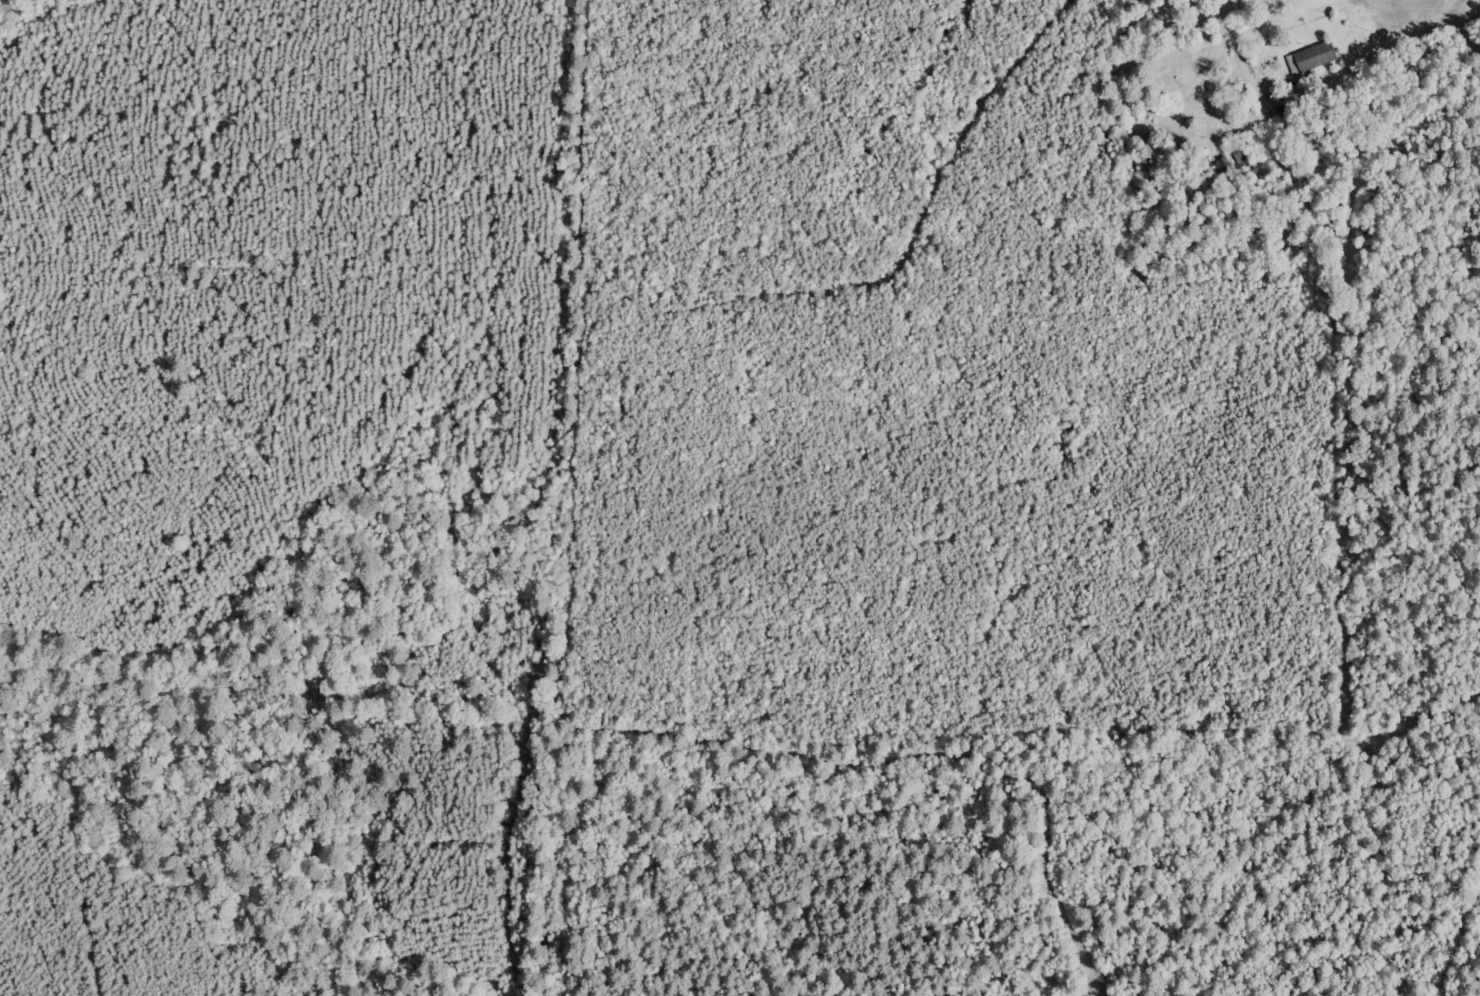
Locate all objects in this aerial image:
road: (1418, 36)

